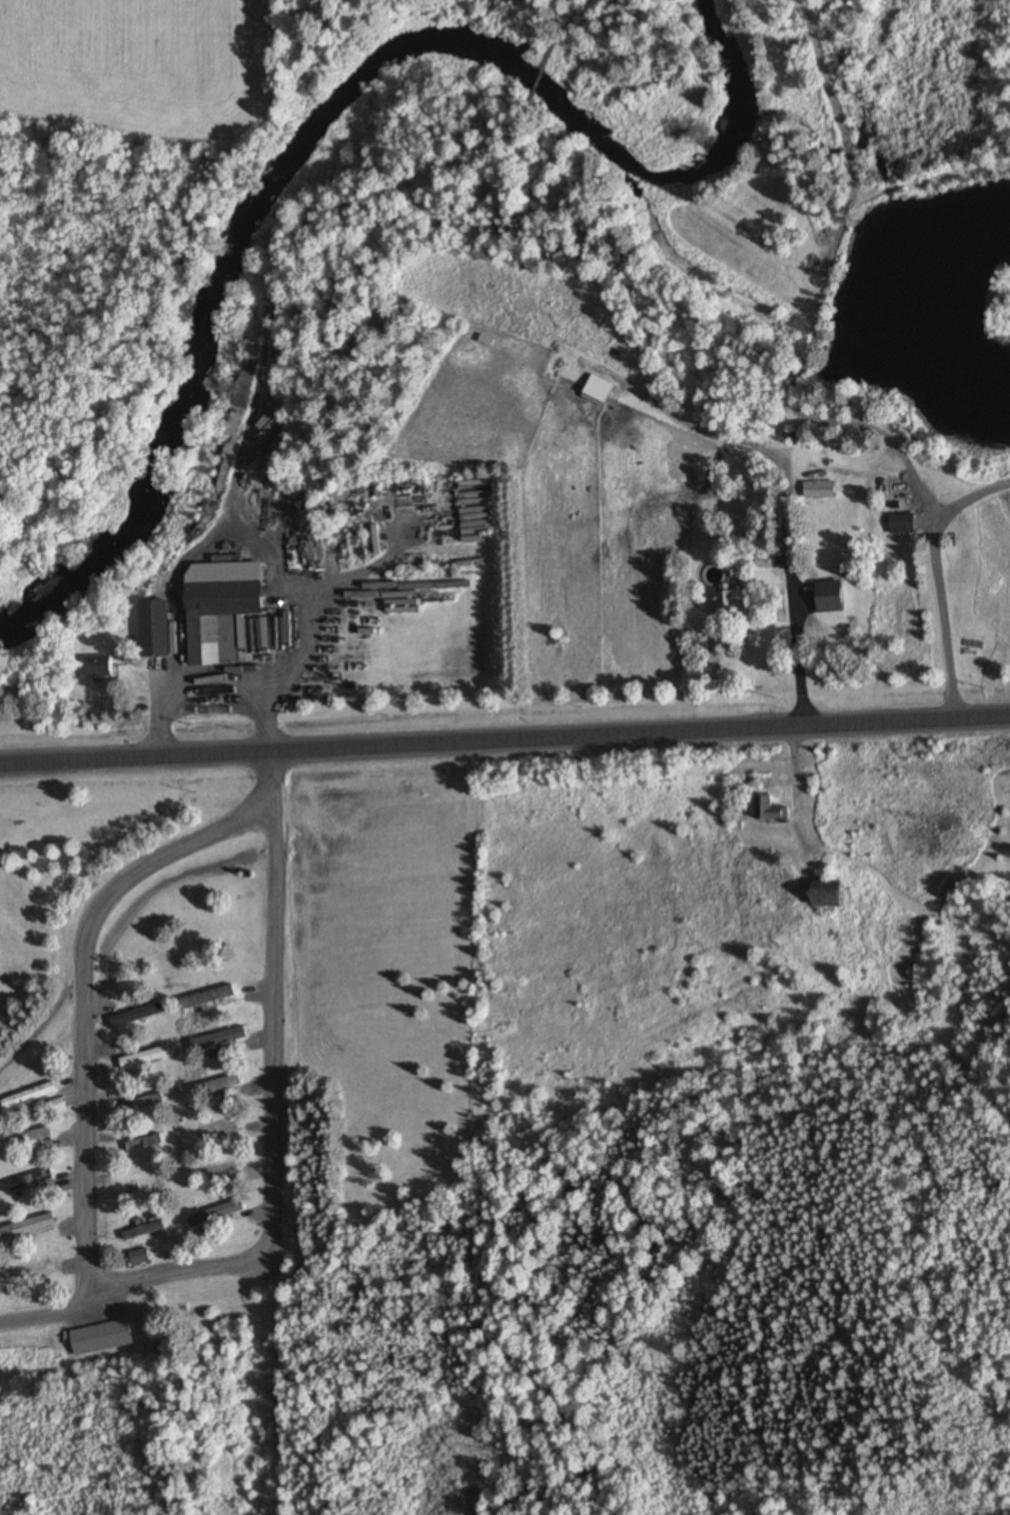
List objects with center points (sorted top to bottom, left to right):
crop: (142, 65)
river: (728, 122)
river: (245, 219)
building: (604, 391)
building: (823, 492)
building: (482, 511)
building: (906, 525)
building: (836, 599)
building: (738, 607)
building: (227, 621)
building: (162, 630)
building: (104, 668)
road: (505, 739)
building: (772, 809)
building: (840, 896)
road: (80, 998)
building: (211, 999)
building: (141, 1016)
building: (221, 1040)
building: (148, 1059)
building: (218, 1086)
building: (32, 1097)
building: (145, 1105)
building: (61, 1107)
building: (32, 1138)
road: (275, 1140)
building: (145, 1146)
building: (220, 1170)
building: (31, 1182)
building: (219, 1216)
building: (31, 1228)
building: (146, 1232)
building: (142, 1258)
building: (32, 1271)
building: (105, 1339)

